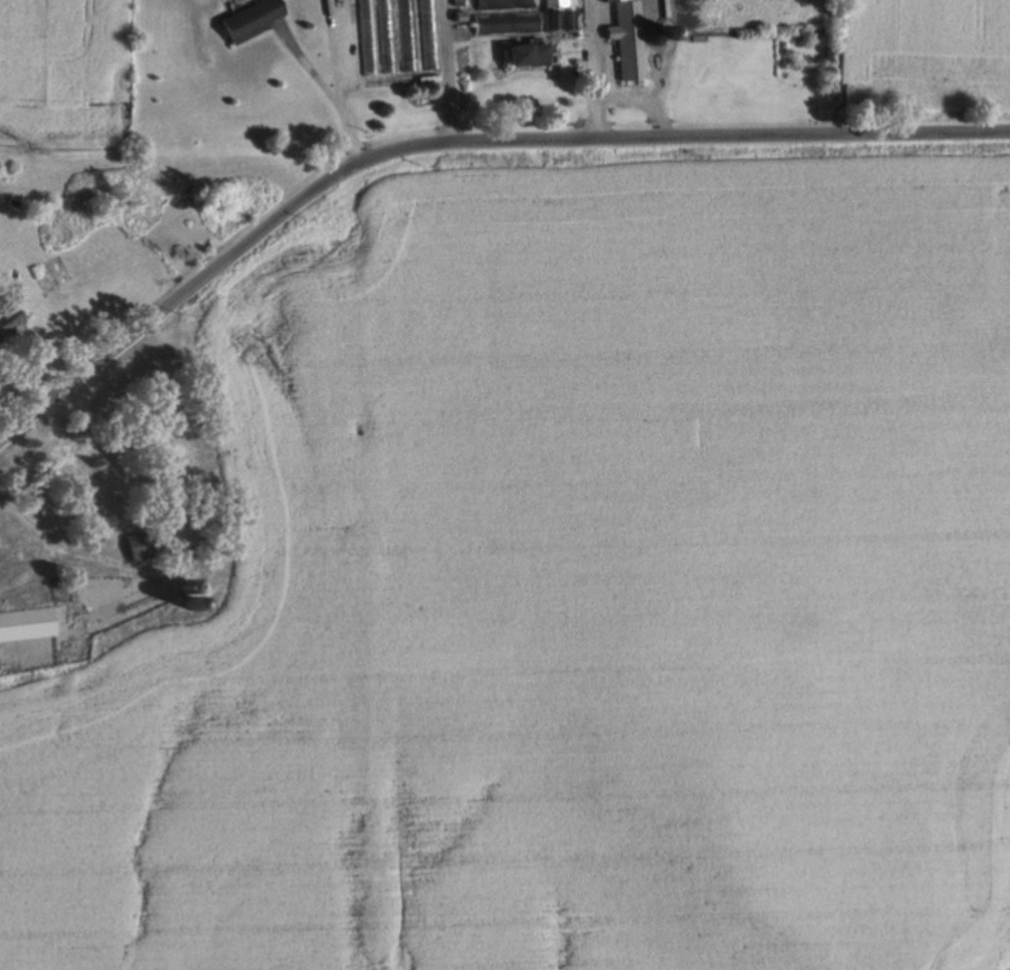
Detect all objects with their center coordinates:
building: (462, 1)
building: (505, 3)
building: (560, 16)
building: (249, 19)
building: (508, 21)
building: (430, 33)
building: (408, 34)
building: (387, 35)
building: (367, 36)
building: (629, 38)
building: (527, 53)
road: (593, 68)
road: (451, 70)
road: (329, 87)
road: (640, 100)
road: (455, 141)
building: (13, 323)
building: (109, 520)
building: (140, 544)
road: (49, 547)
building: (9, 561)
road: (129, 567)
building: (25, 623)

